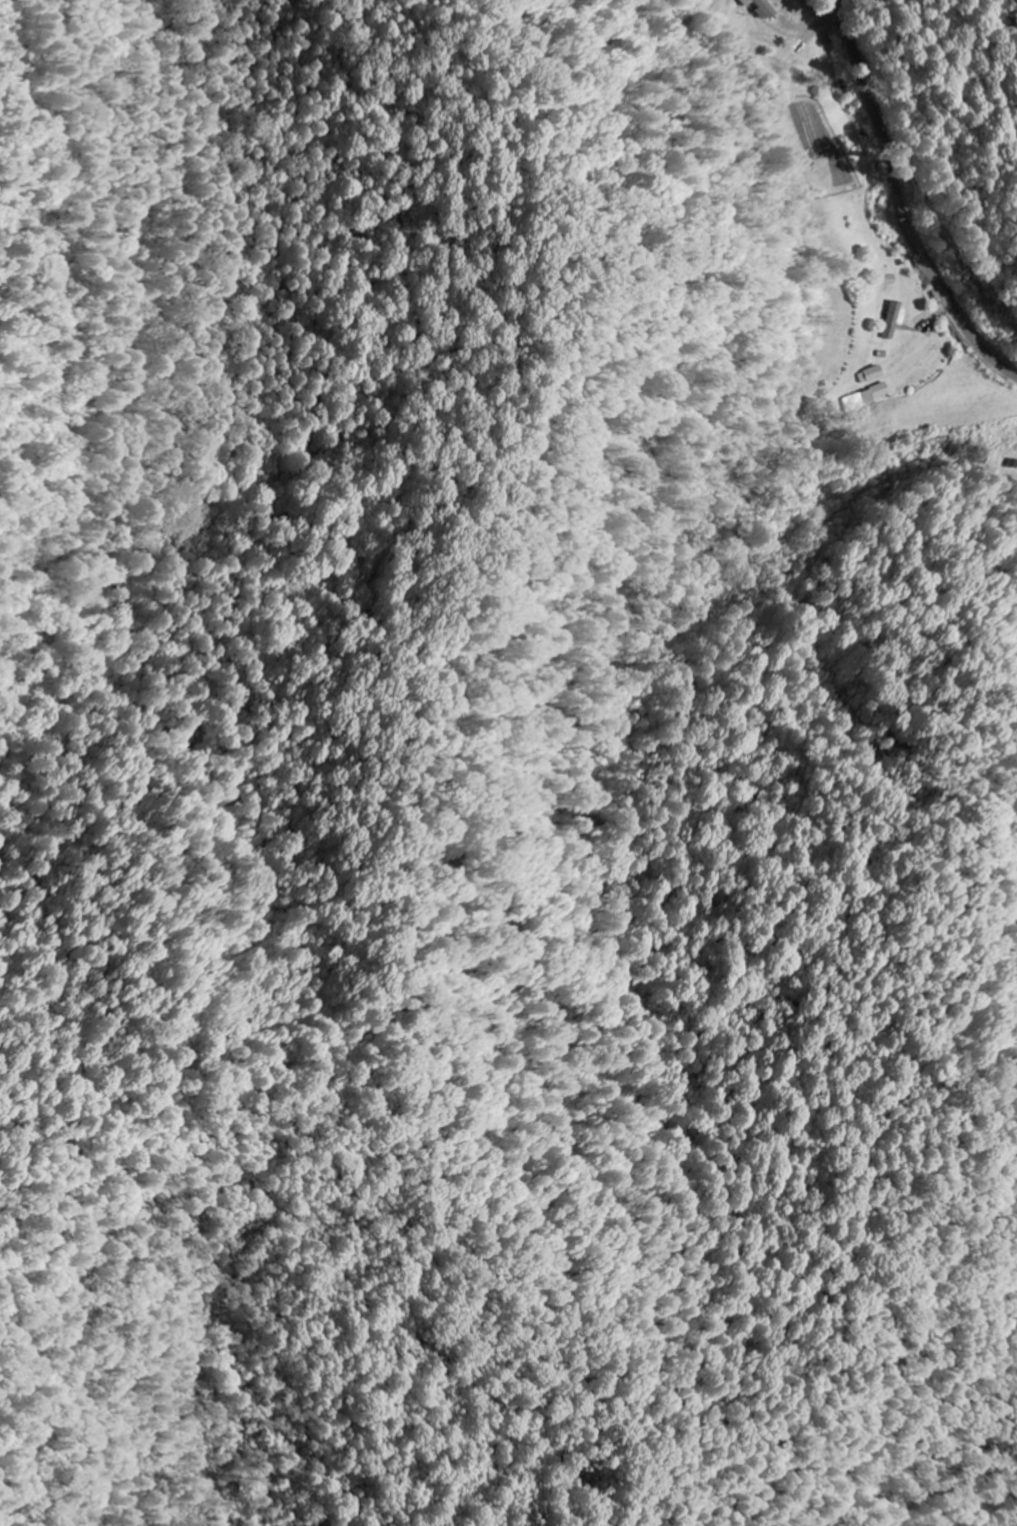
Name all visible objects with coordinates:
building: (762, 7)
road: (902, 198)
building: (892, 318)
building: (870, 374)

